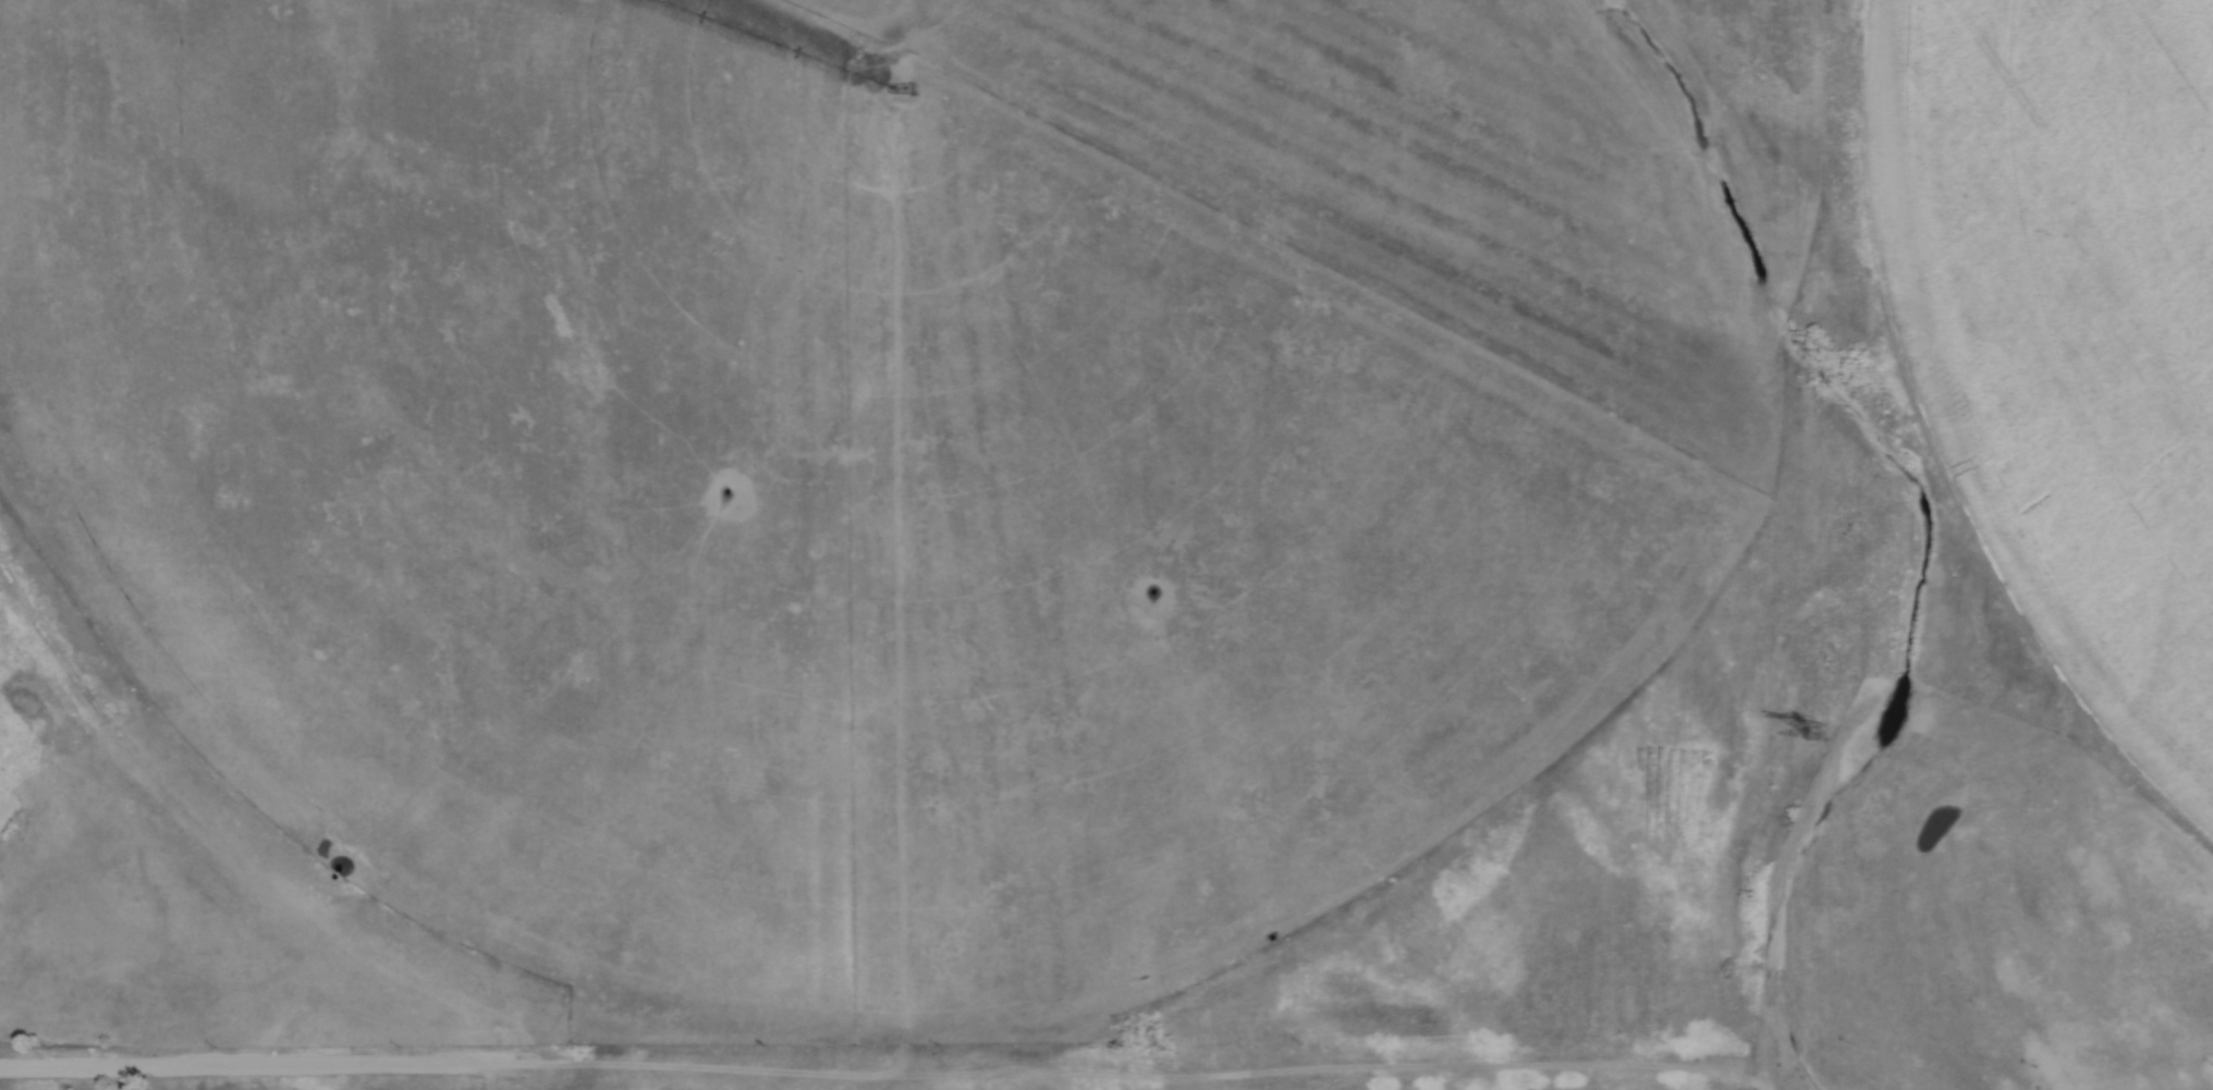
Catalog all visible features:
power tower: (1814, 735)
road: (437, 1071)

